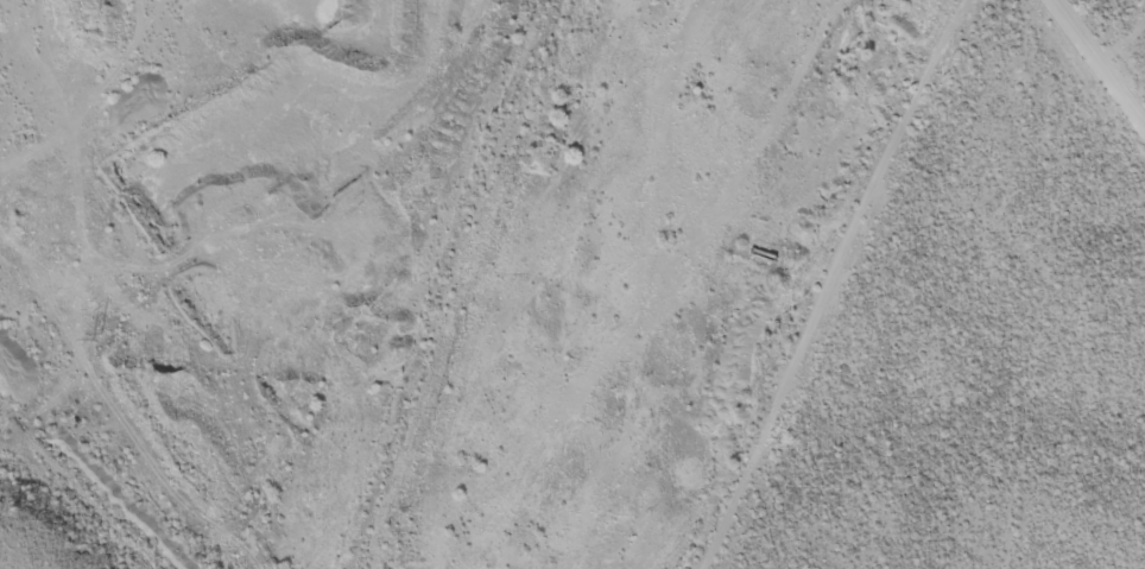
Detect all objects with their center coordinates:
road: (255, 121)
road: (355, 268)
power tower: (109, 336)
road: (129, 383)

